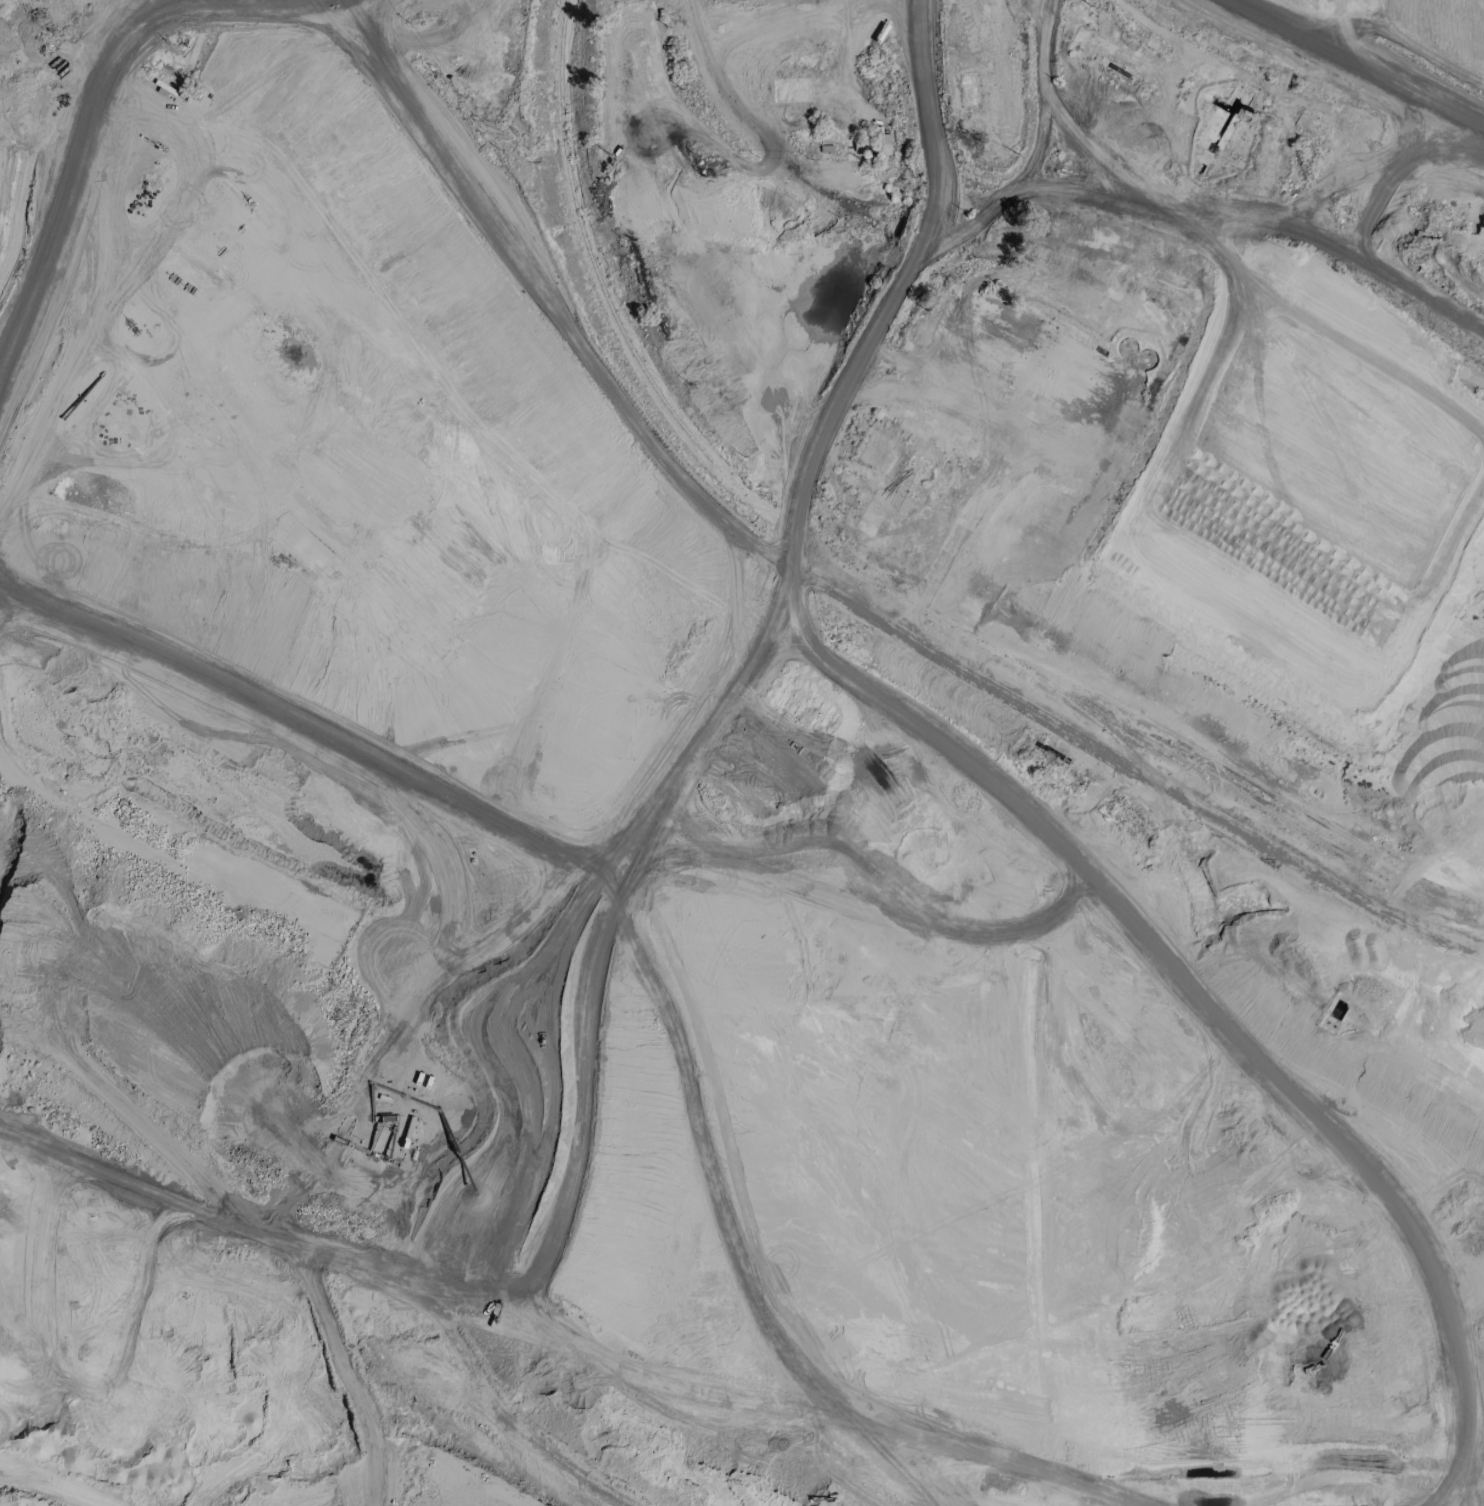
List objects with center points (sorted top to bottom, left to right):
railway: (760, 126)
railway: (753, 132)
road: (808, 579)
railway: (928, 616)
quarry: (742, 753)
railway: (1208, 758)
railway: (1249, 801)
railway: (1428, 920)
building: (1333, 946)
road: (105, 1225)

